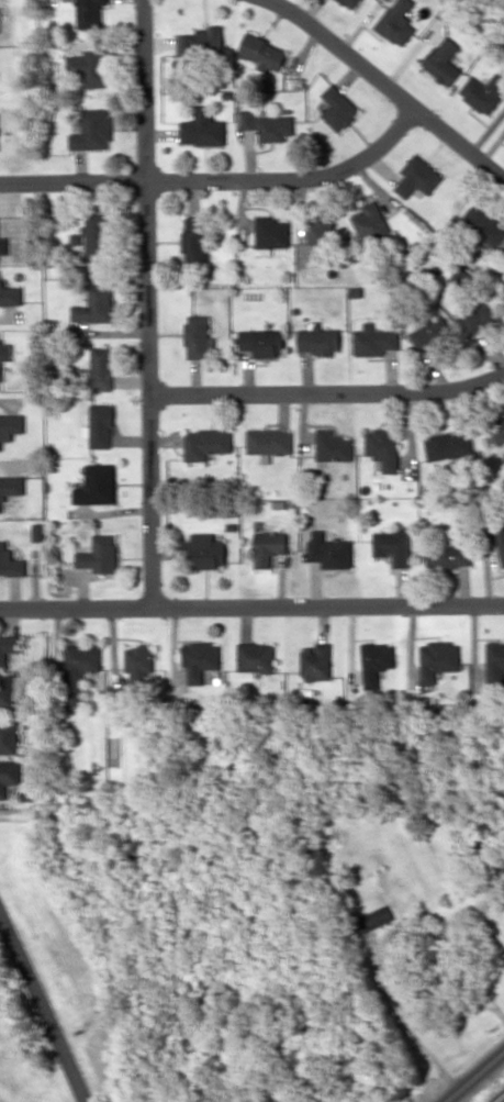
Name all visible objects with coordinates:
building: (351, 2)
building: (89, 13)
building: (396, 22)
building: (201, 41)
building: (262, 52)
building: (444, 60)
building: (91, 66)
road: (389, 87)
building: (483, 91)
building: (338, 108)
building: (267, 125)
building: (203, 127)
building: (92, 130)
building: (417, 176)
road: (220, 179)
building: (370, 223)
building: (483, 224)
building: (271, 234)
building: (94, 236)
building: (321, 236)
building: (195, 238)
building: (2, 245)
building: (461, 278)
building: (10, 296)
building: (94, 304)
road: (147, 304)
building: (482, 312)
building: (432, 334)
building: (198, 337)
building: (320, 341)
building: (374, 341)
building: (262, 342)
building: (4, 353)
building: (101, 368)
road: (327, 391)
building: (100, 425)
building: (10, 426)
building: (499, 431)
building: (269, 441)
building: (206, 443)
building: (333, 446)
building: (449, 446)
building: (383, 447)
building: (97, 485)
building: (10, 488)
building: (37, 532)
building: (501, 541)
building: (392, 546)
building: (268, 547)
building: (203, 550)
building: (329, 550)
building: (99, 554)
building: (448, 555)
building: (10, 561)
road: (251, 606)
building: (9, 647)
building: (255, 656)
building: (438, 659)
building: (199, 660)
building: (315, 661)
building: (376, 661)
building: (494, 663)
building: (138, 664)
building: (80, 670)
building: (9, 692)
building: (9, 737)
building: (9, 776)
building: (501, 858)
building: (372, 919)
building: (446, 978)
road: (43, 1009)
road: (474, 1077)
railway: (500, 1099)

